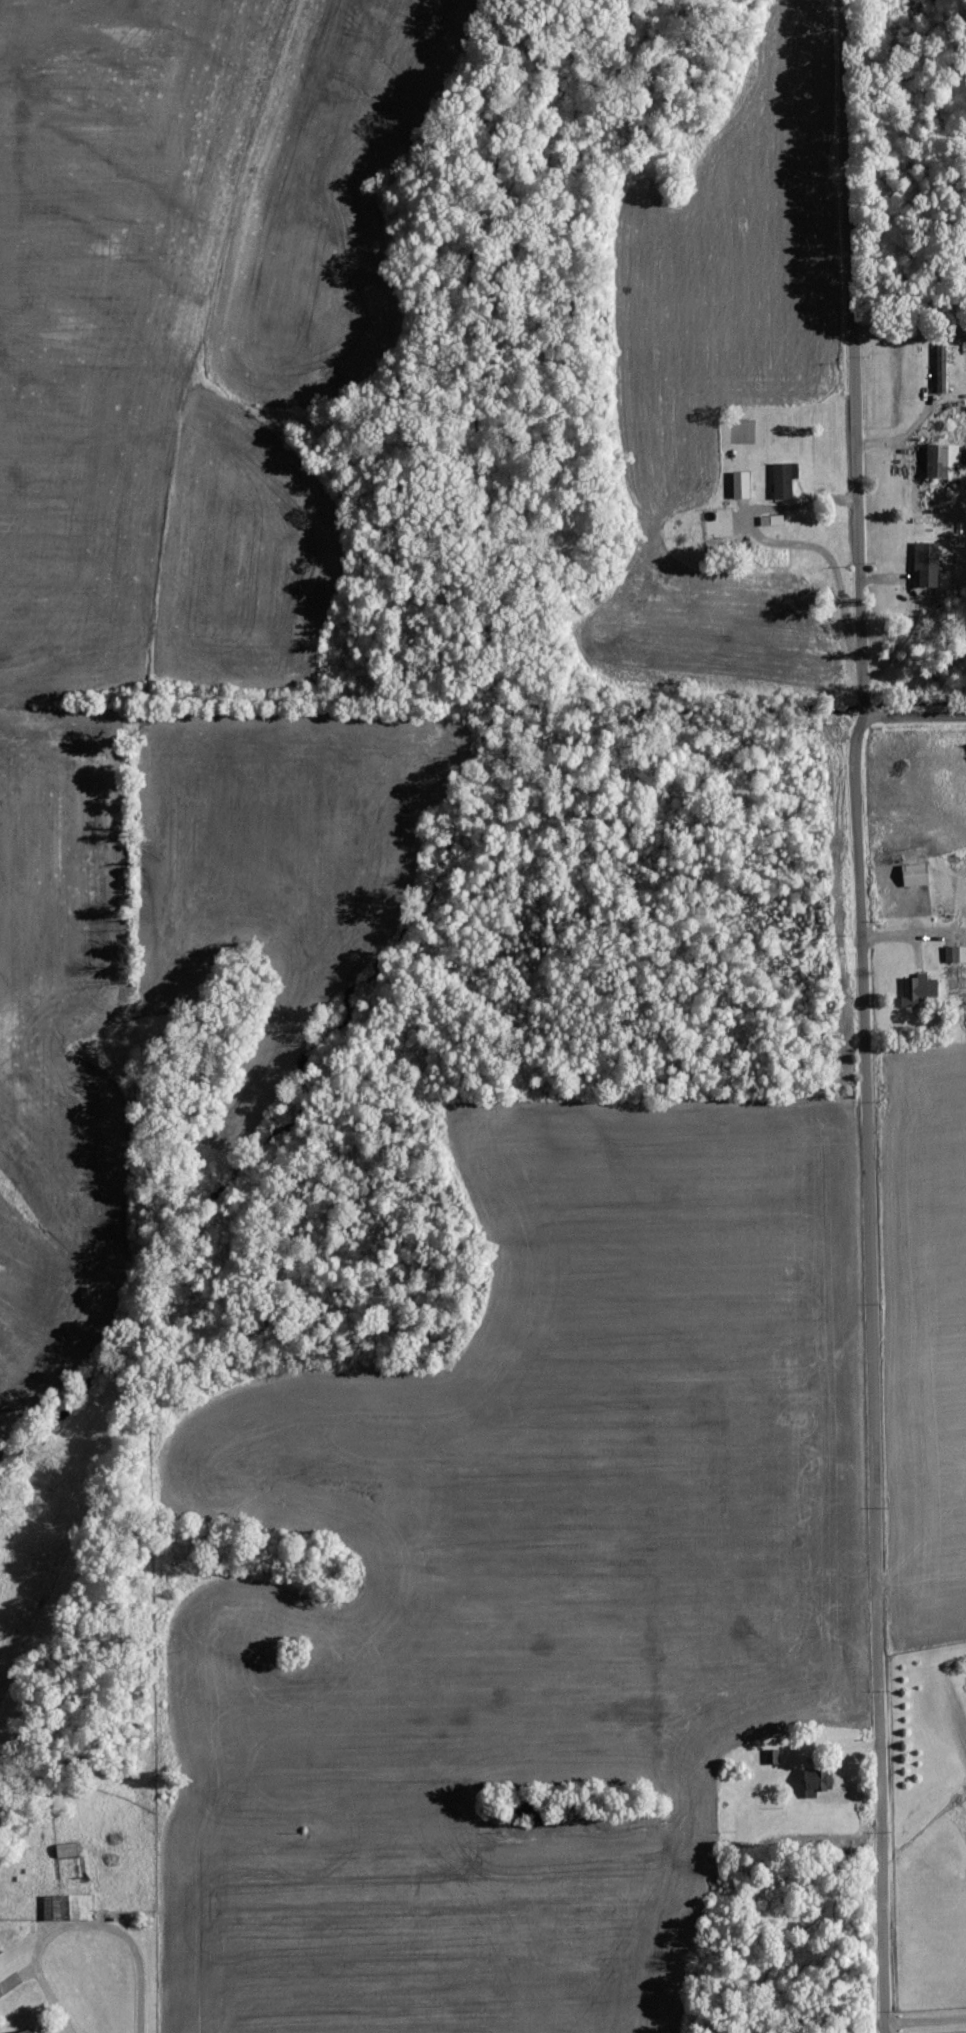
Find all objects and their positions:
building: (941, 369)
building: (941, 460)
building: (782, 481)
building: (741, 485)
building: (927, 564)
road: (433, 659)
road: (916, 717)
building: (915, 875)
building: (955, 954)
building: (919, 990)
road: (864, 1016)
building: (818, 1780)
building: (68, 1907)
road: (51, 1993)
road: (926, 2019)
building: (27, 2031)

